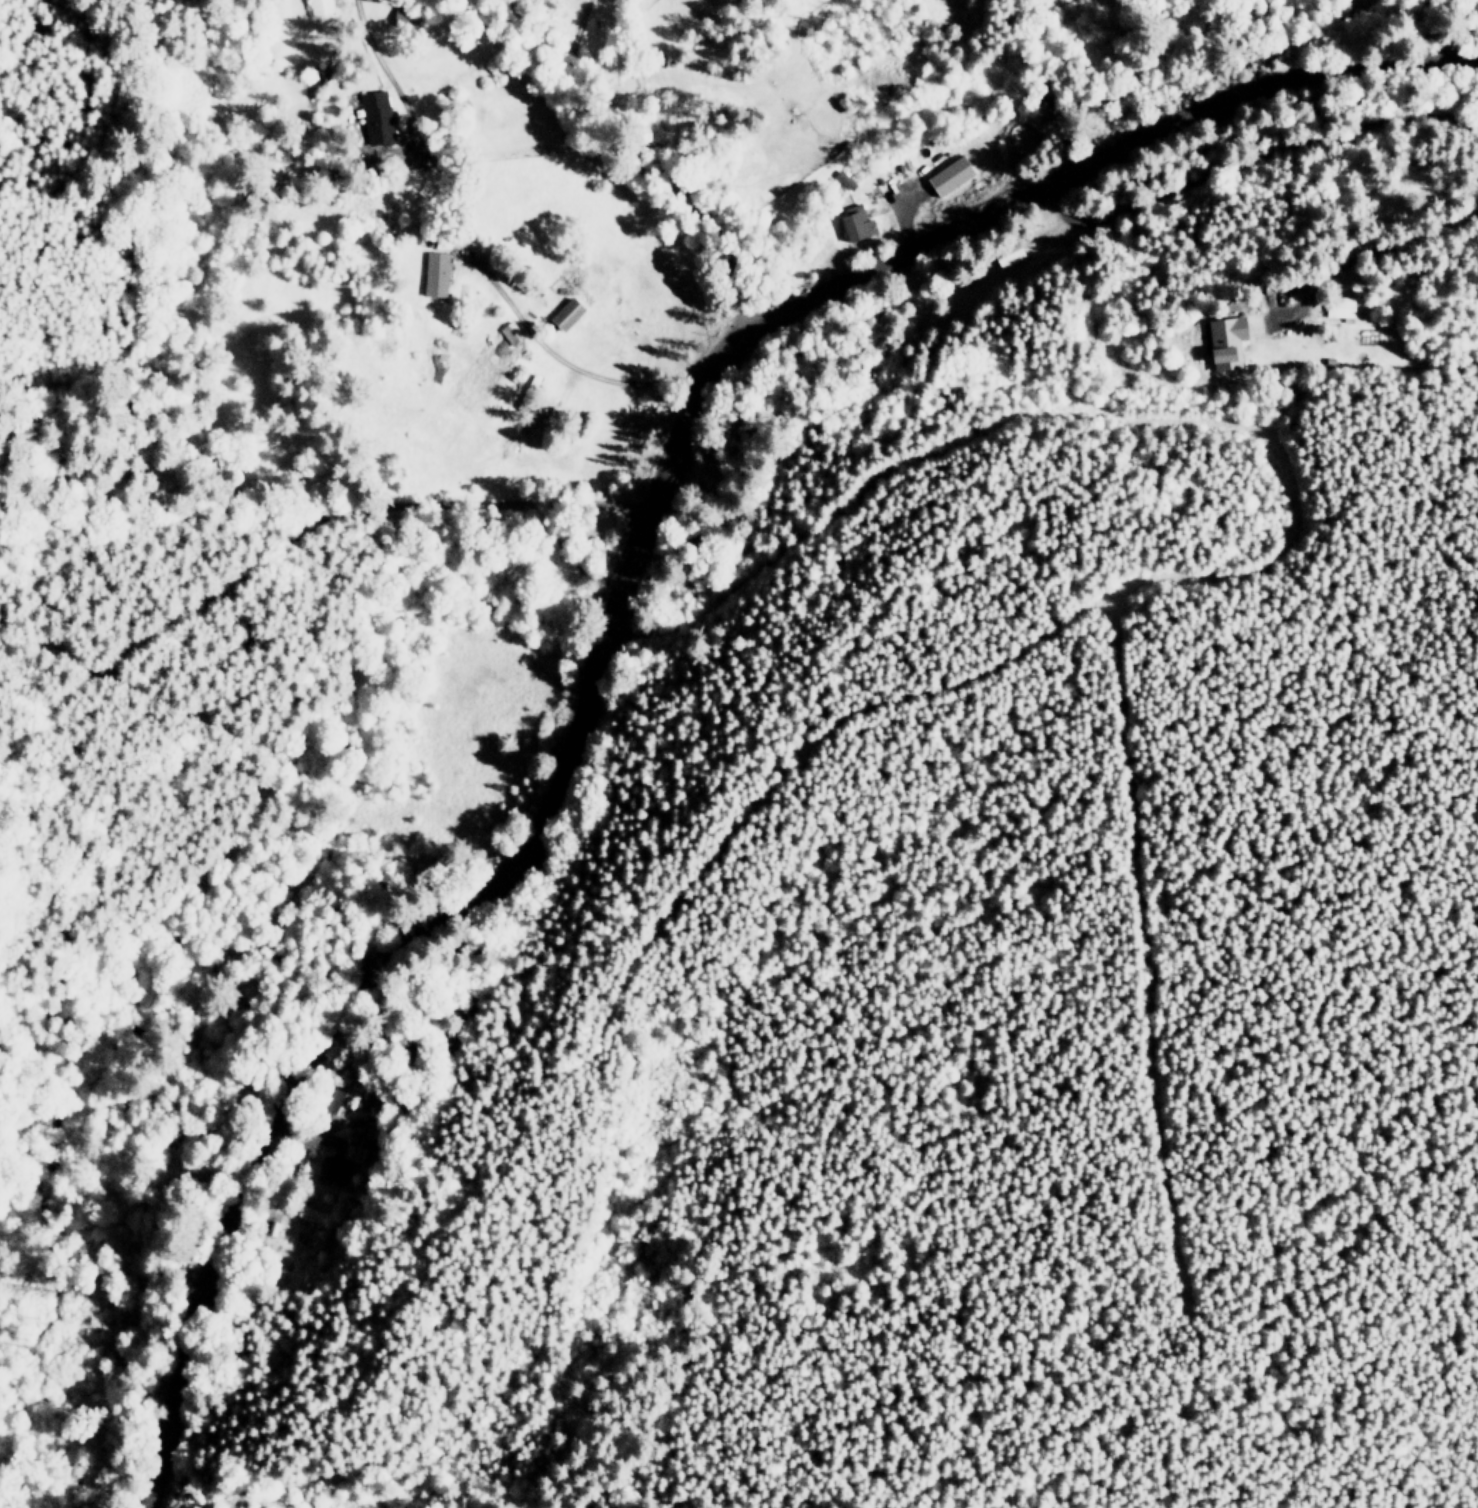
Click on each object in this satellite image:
building: (321, 6)
road: (579, 30)
road: (371, 40)
building: (377, 116)
road: (649, 153)
road: (1253, 161)
building: (949, 174)
building: (856, 222)
road: (1386, 237)
building: (1009, 255)
building: (435, 273)
building: (1339, 306)
building: (566, 313)
building: (510, 332)
building: (1225, 339)
road: (569, 365)
road: (286, 535)
road: (620, 584)
building: (334, 1168)

